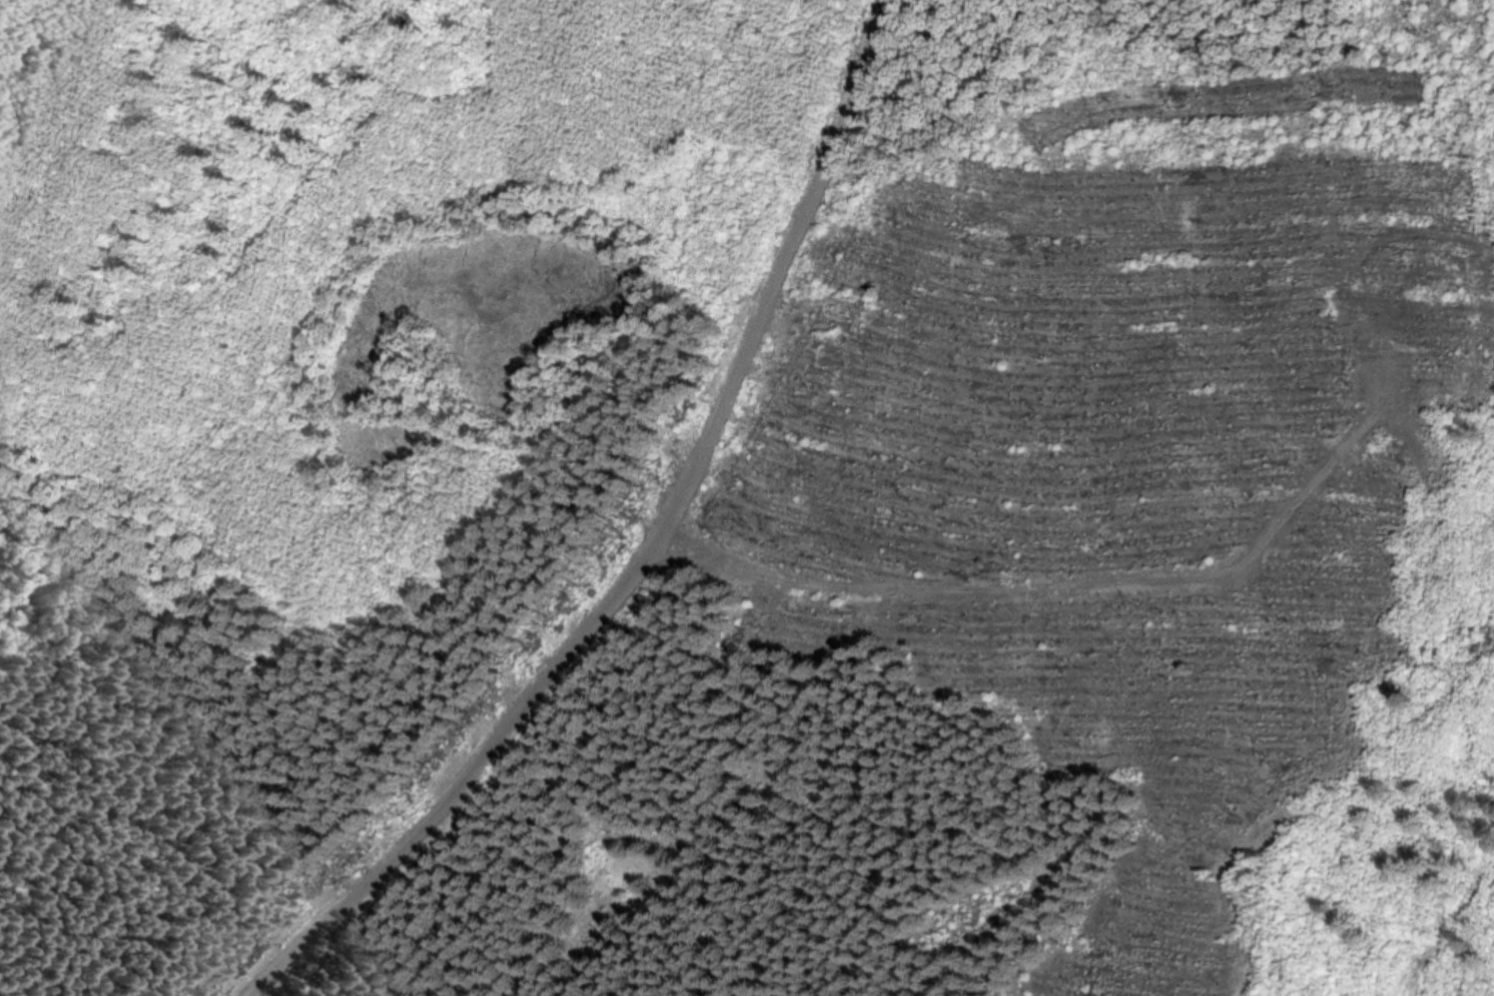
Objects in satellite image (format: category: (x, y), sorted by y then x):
road: (656, 554)

